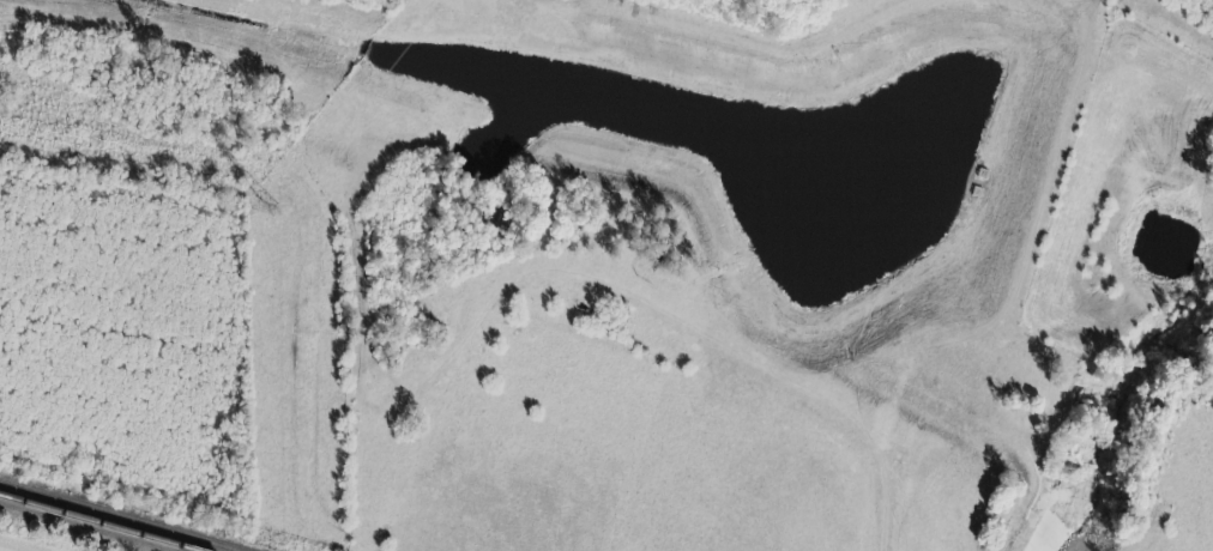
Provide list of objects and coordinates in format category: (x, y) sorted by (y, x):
power tower: (262, 212)
railway: (119, 517)
railway: (96, 523)

